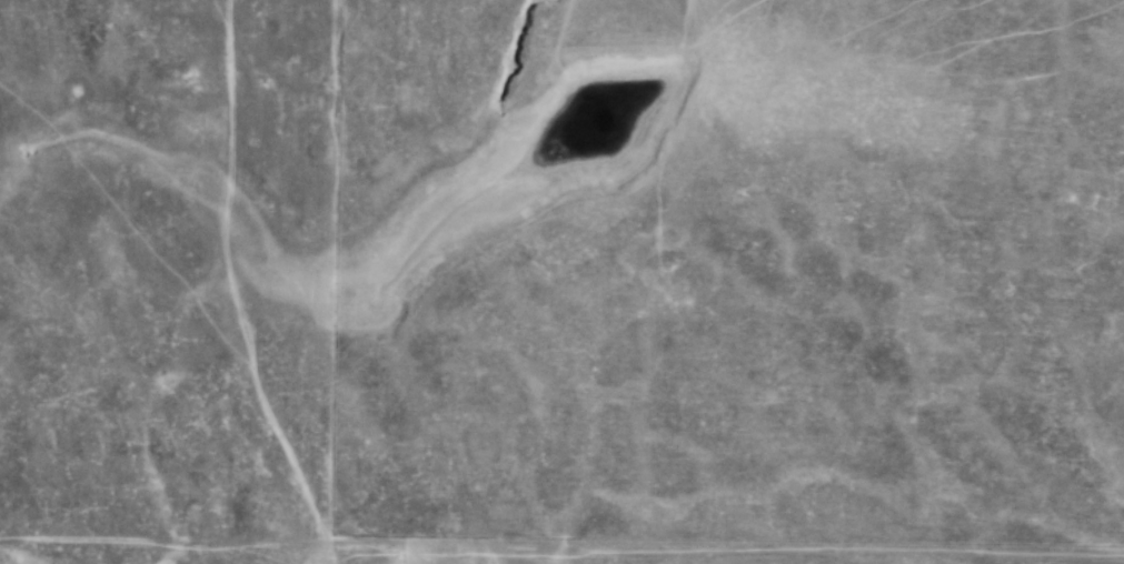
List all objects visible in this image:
dam: (619, 59)
road: (233, 291)
road: (162, 540)

